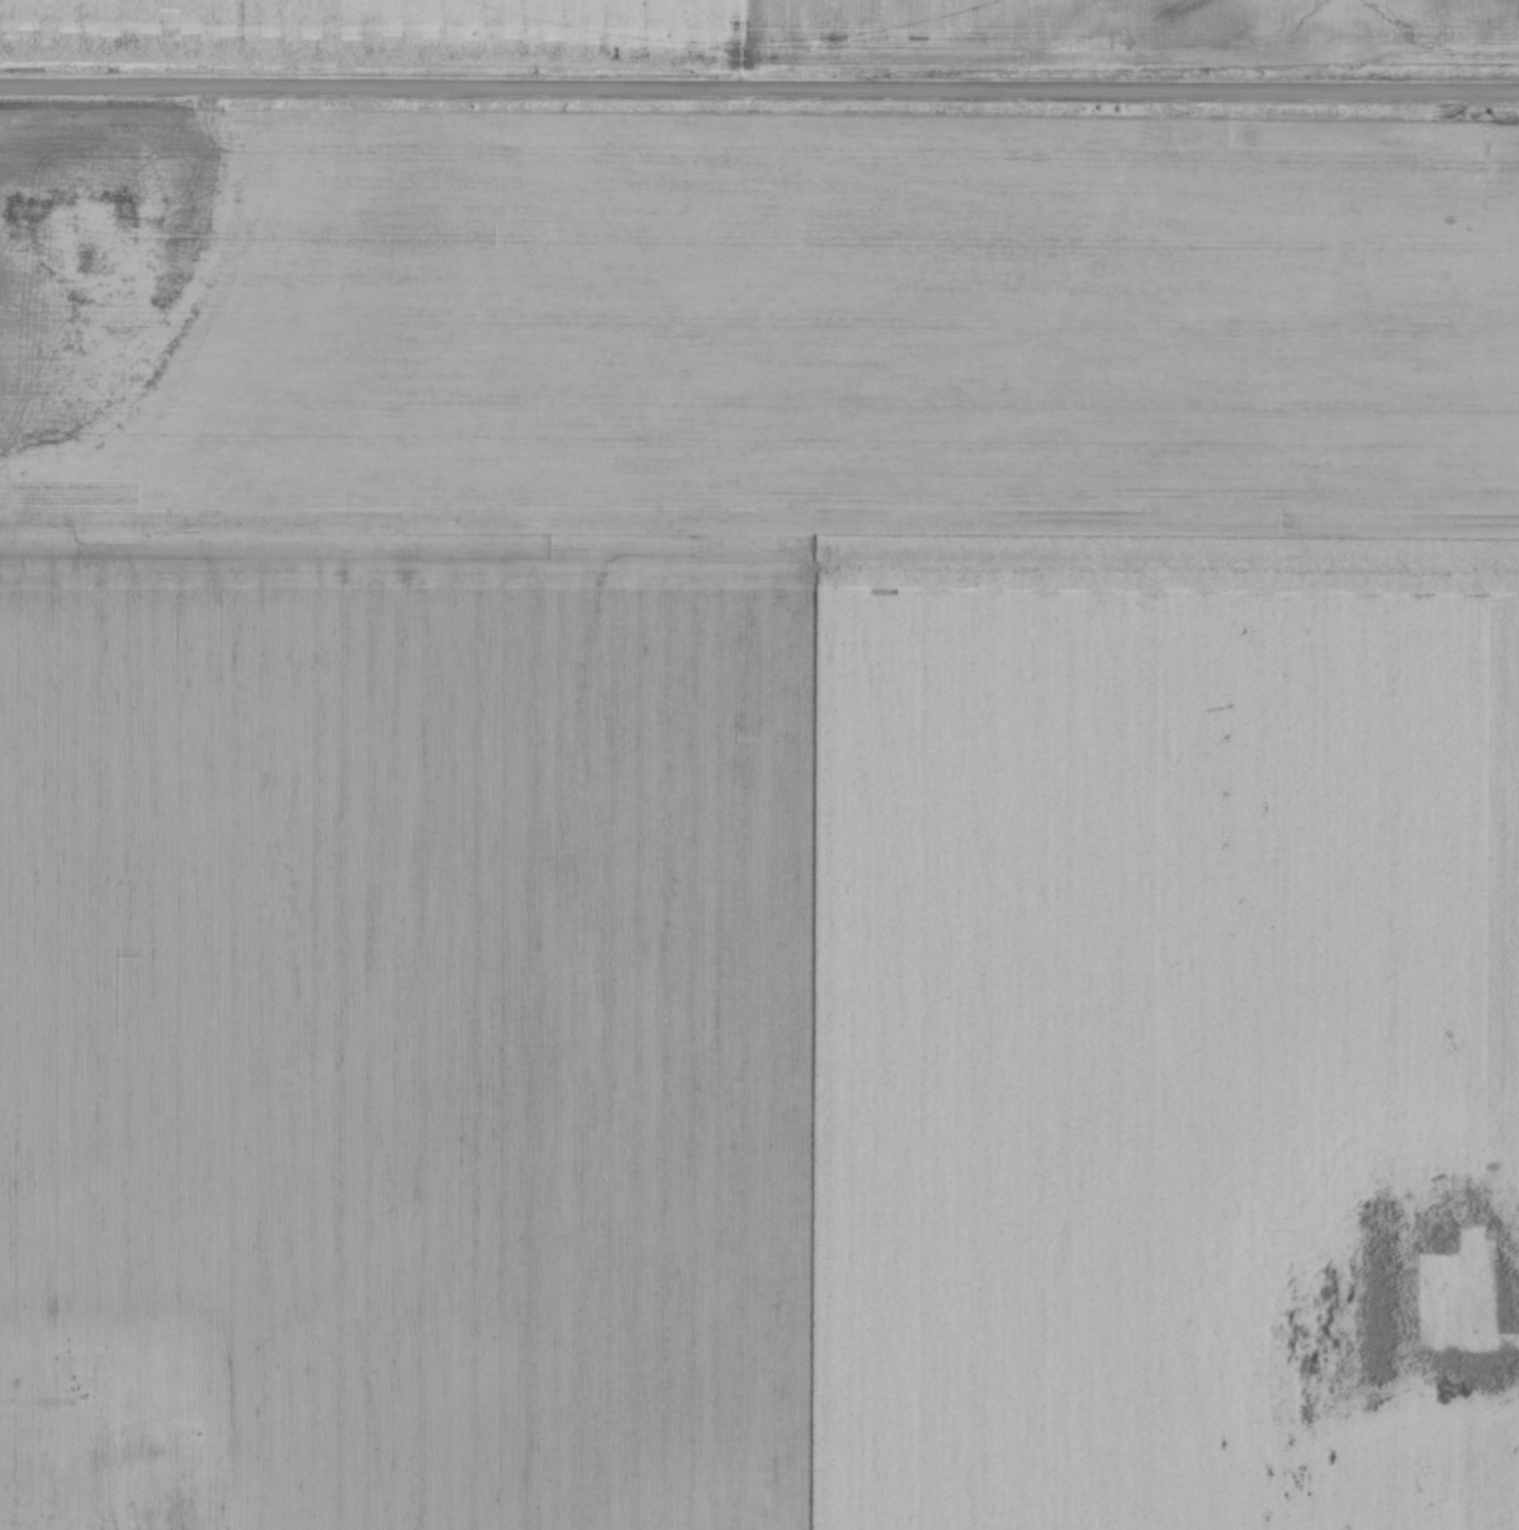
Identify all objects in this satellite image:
road: (759, 93)

